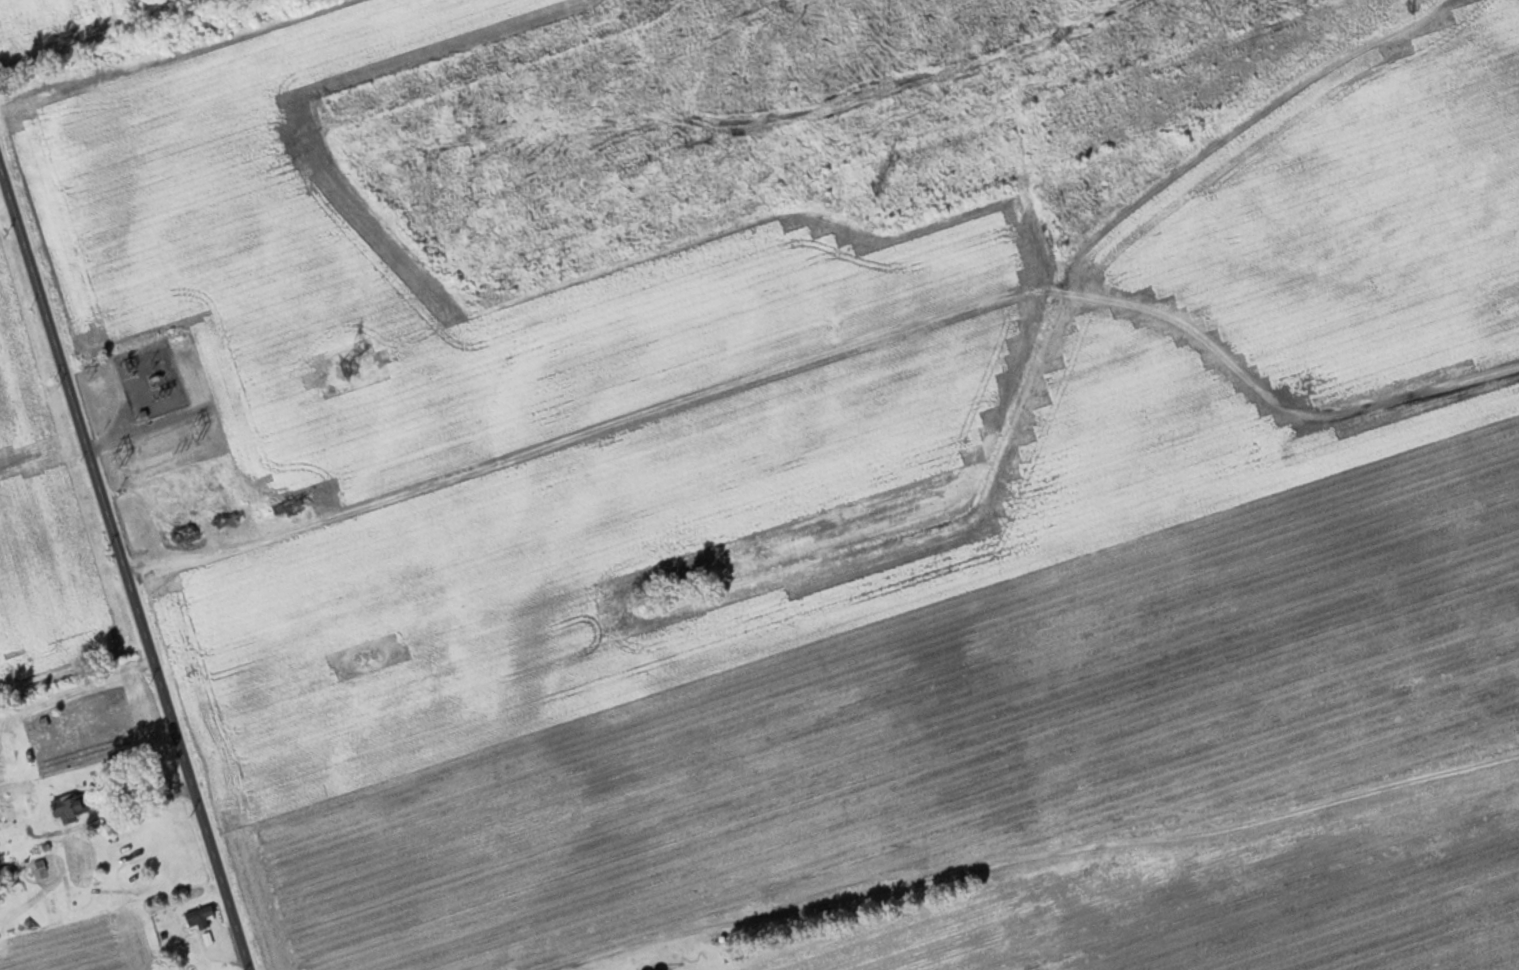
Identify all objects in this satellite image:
power tower: (338, 366)
power substation: (142, 382)
road: (123, 568)
road: (134, 807)
building: (66, 811)
building: (197, 919)
road: (570, 963)

